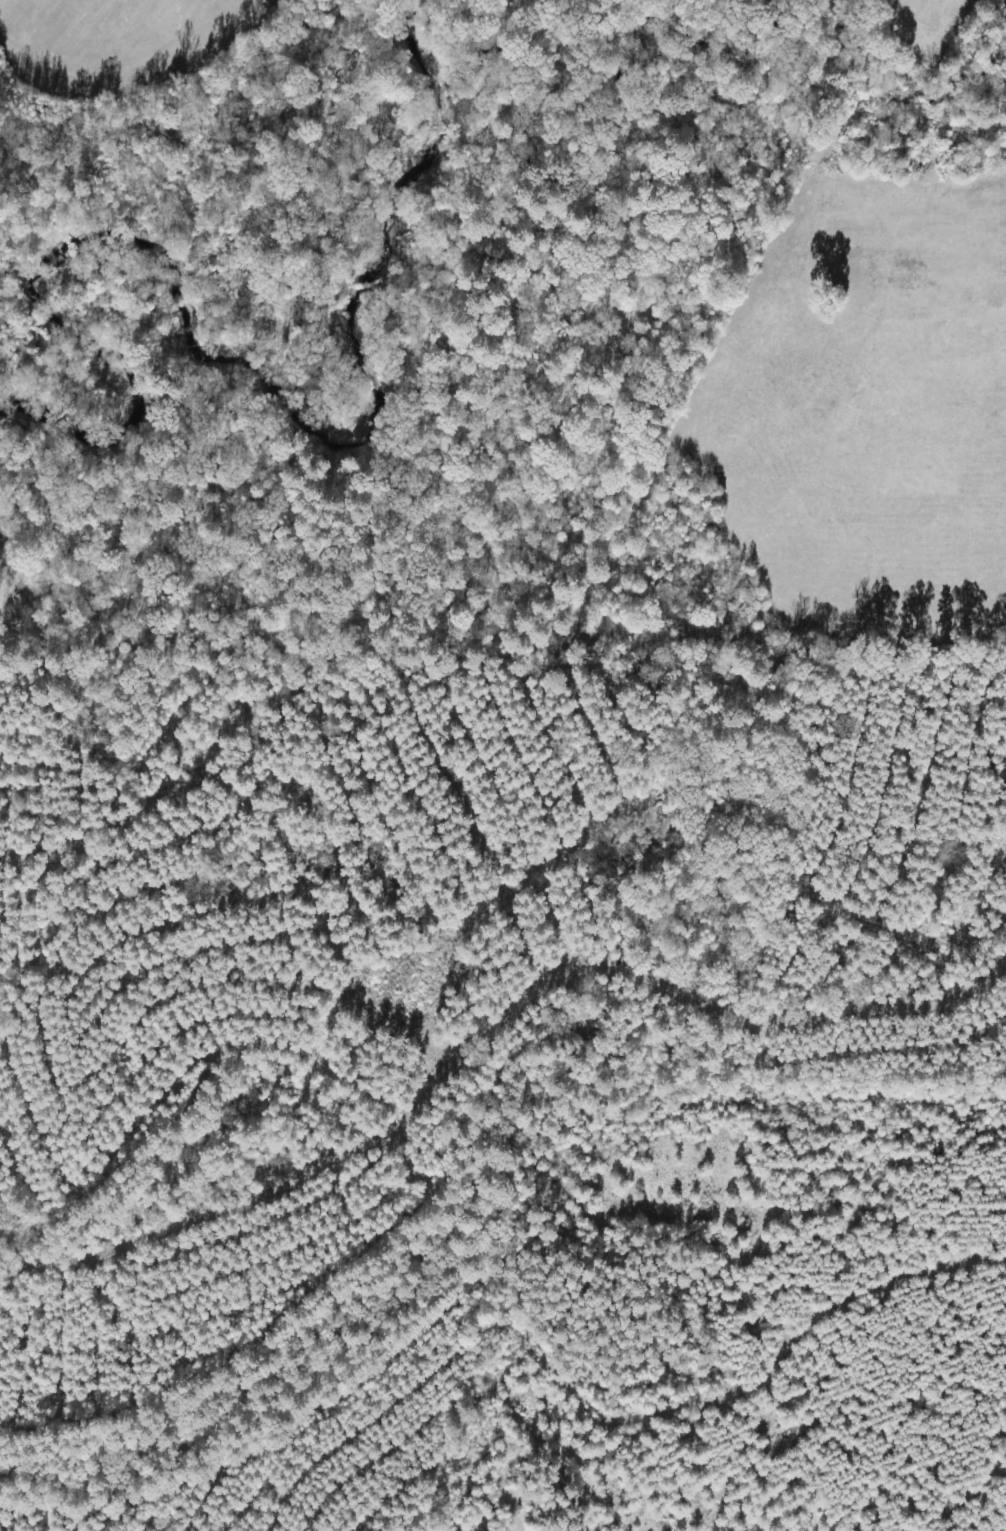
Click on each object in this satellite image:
road: (490, 1057)

